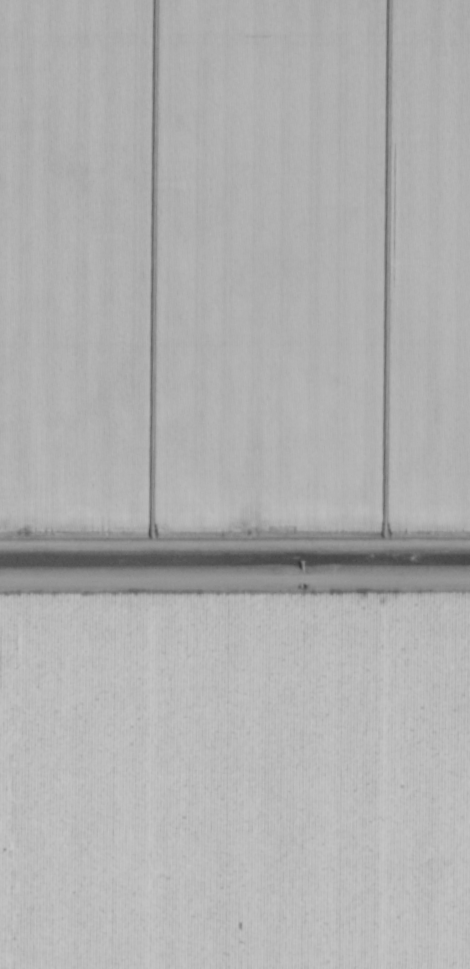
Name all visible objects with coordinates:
road: (234, 576)

